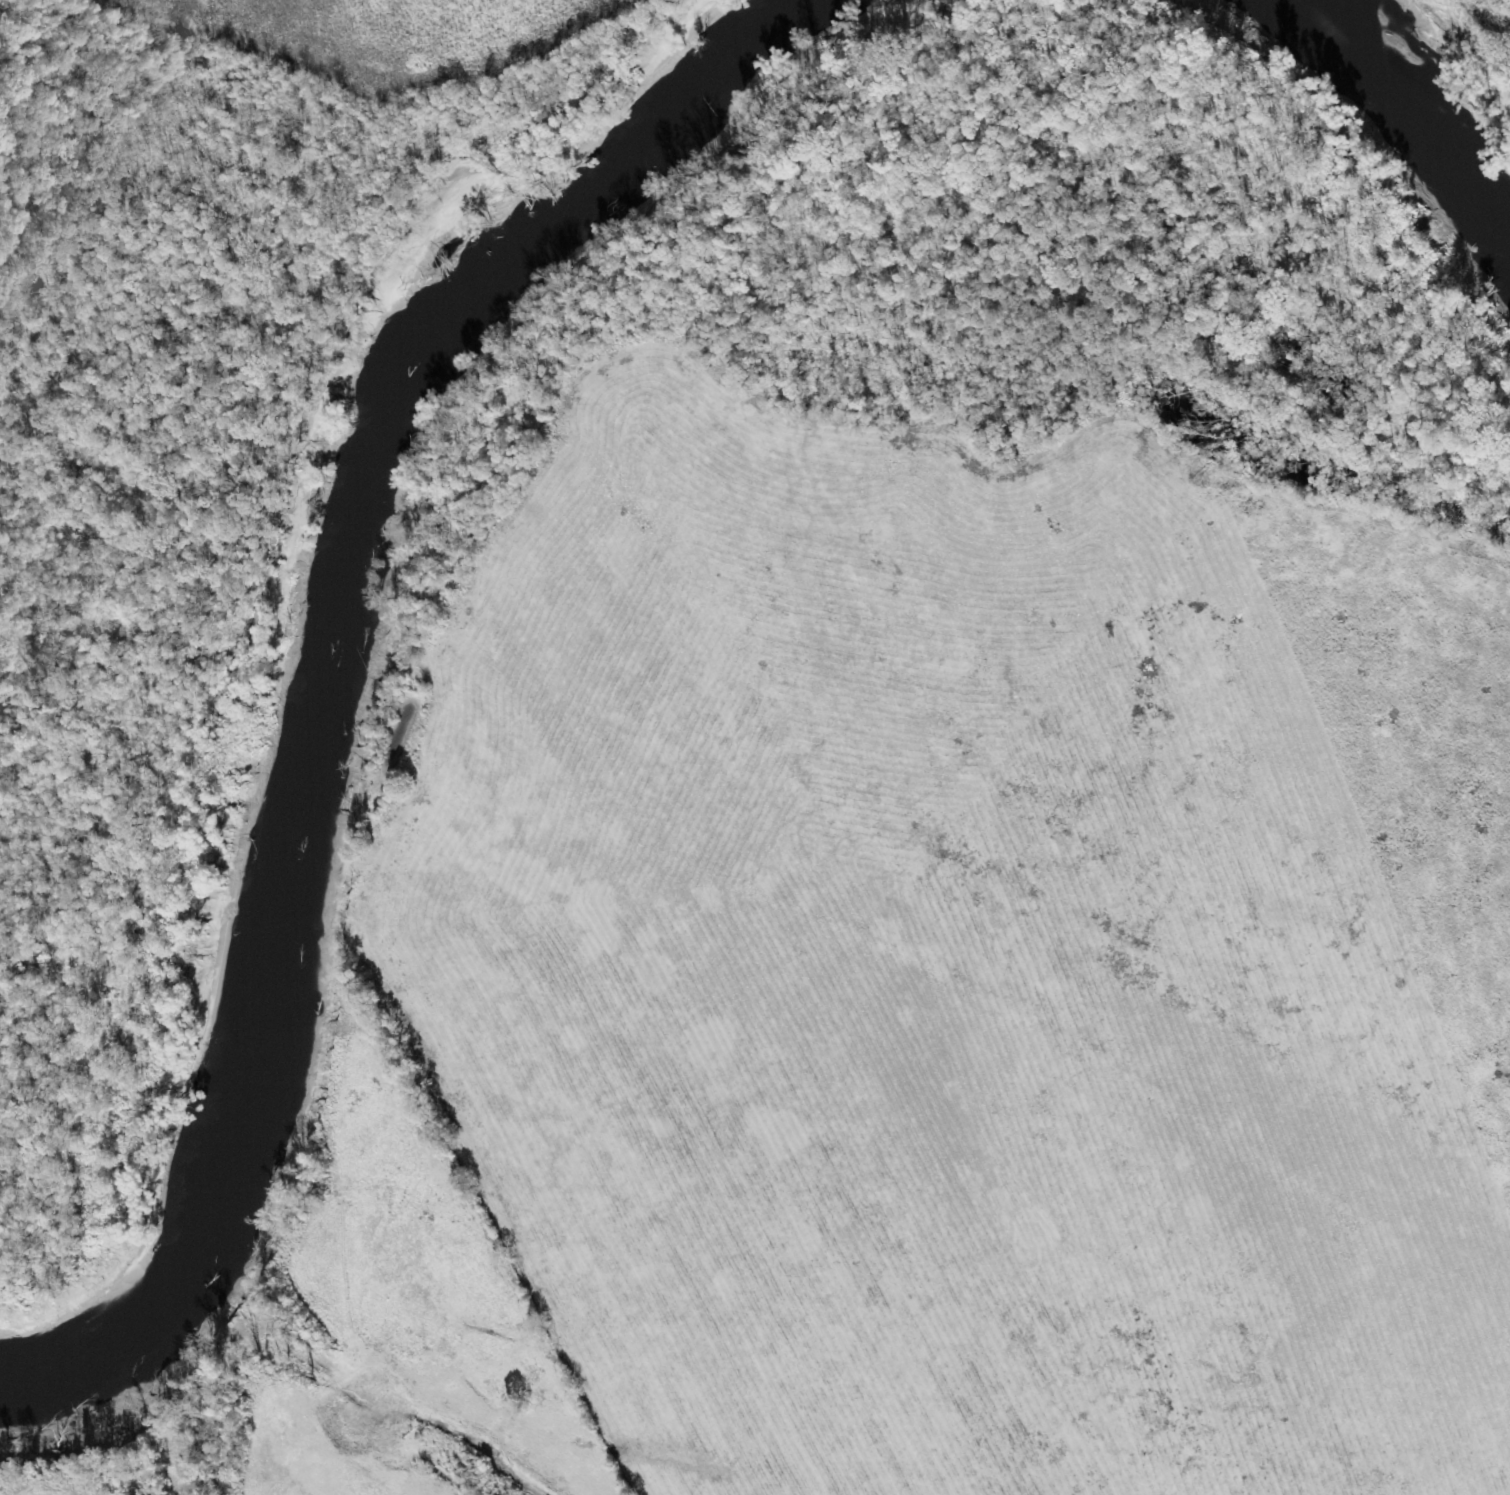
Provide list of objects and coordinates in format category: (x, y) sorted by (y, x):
river: (1411, 120)
river: (314, 642)

